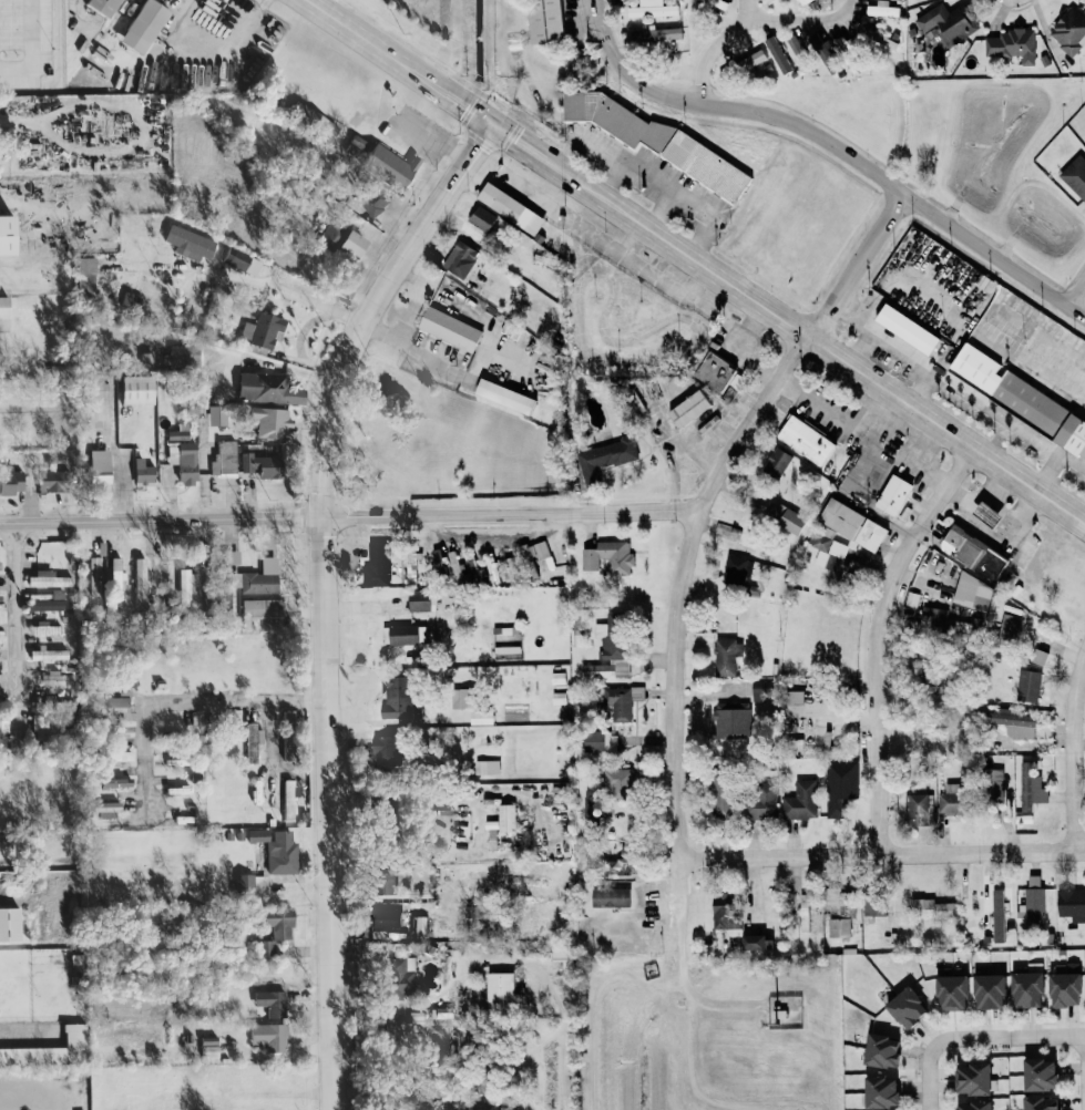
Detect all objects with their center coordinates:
building: (811, 3)
building: (108, 7)
road: (326, 7)
building: (654, 9)
building: (884, 9)
road: (749, 11)
road: (805, 20)
building: (550, 21)
building: (950, 22)
building: (147, 25)
building: (1071, 30)
building: (878, 35)
building: (655, 37)
building: (819, 44)
building: (1014, 44)
road: (29, 48)
building: (800, 50)
road: (707, 60)
building: (745, 65)
traffic signals: (489, 123)
building: (662, 140)
road: (831, 145)
building: (356, 146)
building: (392, 164)
building: (1076, 175)
building: (375, 203)
building: (513, 207)
building: (487, 219)
road: (422, 222)
building: (345, 238)
building: (192, 244)
building: (460, 257)
road: (859, 259)
building: (243, 260)
road: (695, 261)
road: (229, 274)
building: (85, 275)
road: (1073, 282)
building: (127, 299)
building: (6, 314)
road: (347, 316)
building: (911, 328)
building: (265, 329)
building: (453, 329)
road: (299, 342)
road: (408, 346)
building: (186, 354)
building: (719, 371)
building: (269, 388)
building: (140, 389)
building: (509, 397)
building: (1021, 398)
building: (693, 408)
road: (837, 413)
building: (272, 421)
building: (809, 439)
building: (184, 455)
building: (607, 456)
building: (226, 459)
building: (779, 462)
building: (264, 464)
building: (102, 465)
building: (145, 472)
building: (53, 480)
building: (12, 481)
road: (958, 494)
building: (897, 495)
road: (323, 506)
road: (510, 515)
building: (789, 517)
road: (161, 521)
building: (856, 525)
road: (981, 525)
building: (535, 551)
building: (975, 552)
building: (234, 556)
building: (611, 556)
building: (833, 558)
building: (0, 564)
building: (379, 564)
building: (456, 564)
building: (117, 572)
building: (740, 573)
building: (96, 575)
building: (263, 577)
building: (50, 578)
building: (141, 583)
building: (185, 586)
building: (2, 588)
building: (975, 593)
building: (49, 599)
building: (422, 600)
road: (677, 604)
road: (17, 605)
building: (263, 608)
building: (942, 620)
building: (1010, 623)
building: (504, 630)
building: (401, 634)
building: (614, 635)
building: (1, 638)
road: (877, 638)
building: (727, 656)
building: (1036, 656)
building: (598, 670)
building: (1024, 685)
building: (765, 690)
building: (398, 696)
building: (796, 697)
building: (119, 700)
road: (183, 702)
building: (620, 702)
building: (485, 716)
building: (734, 719)
building: (1010, 721)
building: (3, 722)
building: (47, 727)
road: (272, 730)
building: (254, 739)
building: (602, 740)
building: (289, 744)
road: (1072, 750)
building: (388, 751)
building: (121, 754)
building: (488, 765)
building: (1, 768)
building: (620, 780)
building: (119, 781)
building: (990, 783)
building: (842, 785)
building: (1027, 787)
building: (725, 796)
building: (289, 799)
building: (767, 800)
building: (802, 800)
building: (943, 803)
building: (914, 804)
building: (392, 808)
building: (509, 816)
building: (494, 839)
building: (278, 849)
road: (882, 853)
building: (620, 865)
building: (387, 878)
building: (252, 881)
building: (614, 896)
building: (1028, 903)
building: (1069, 903)
road: (330, 904)
building: (929, 907)
building: (840, 909)
building: (806, 912)
building: (728, 915)
building: (995, 915)
building: (382, 917)
building: (11, 923)
building: (276, 927)
building: (757, 941)
building: (565, 954)
building: (402, 974)
building: (1022, 988)
building: (1058, 988)
building: (1083, 988)
building: (503, 989)
building: (946, 989)
building: (982, 990)
building: (273, 1001)
building: (899, 1006)
road: (29, 1027)
building: (272, 1035)
road: (1004, 1037)
building: (51, 1049)
building: (212, 1049)
building: (873, 1049)
road: (1084, 1057)
road: (1084, 1058)
building: (1032, 1073)
building: (968, 1079)
road: (927, 1080)
building: (874, 1092)
building: (1033, 1102)
building: (964, 1104)

